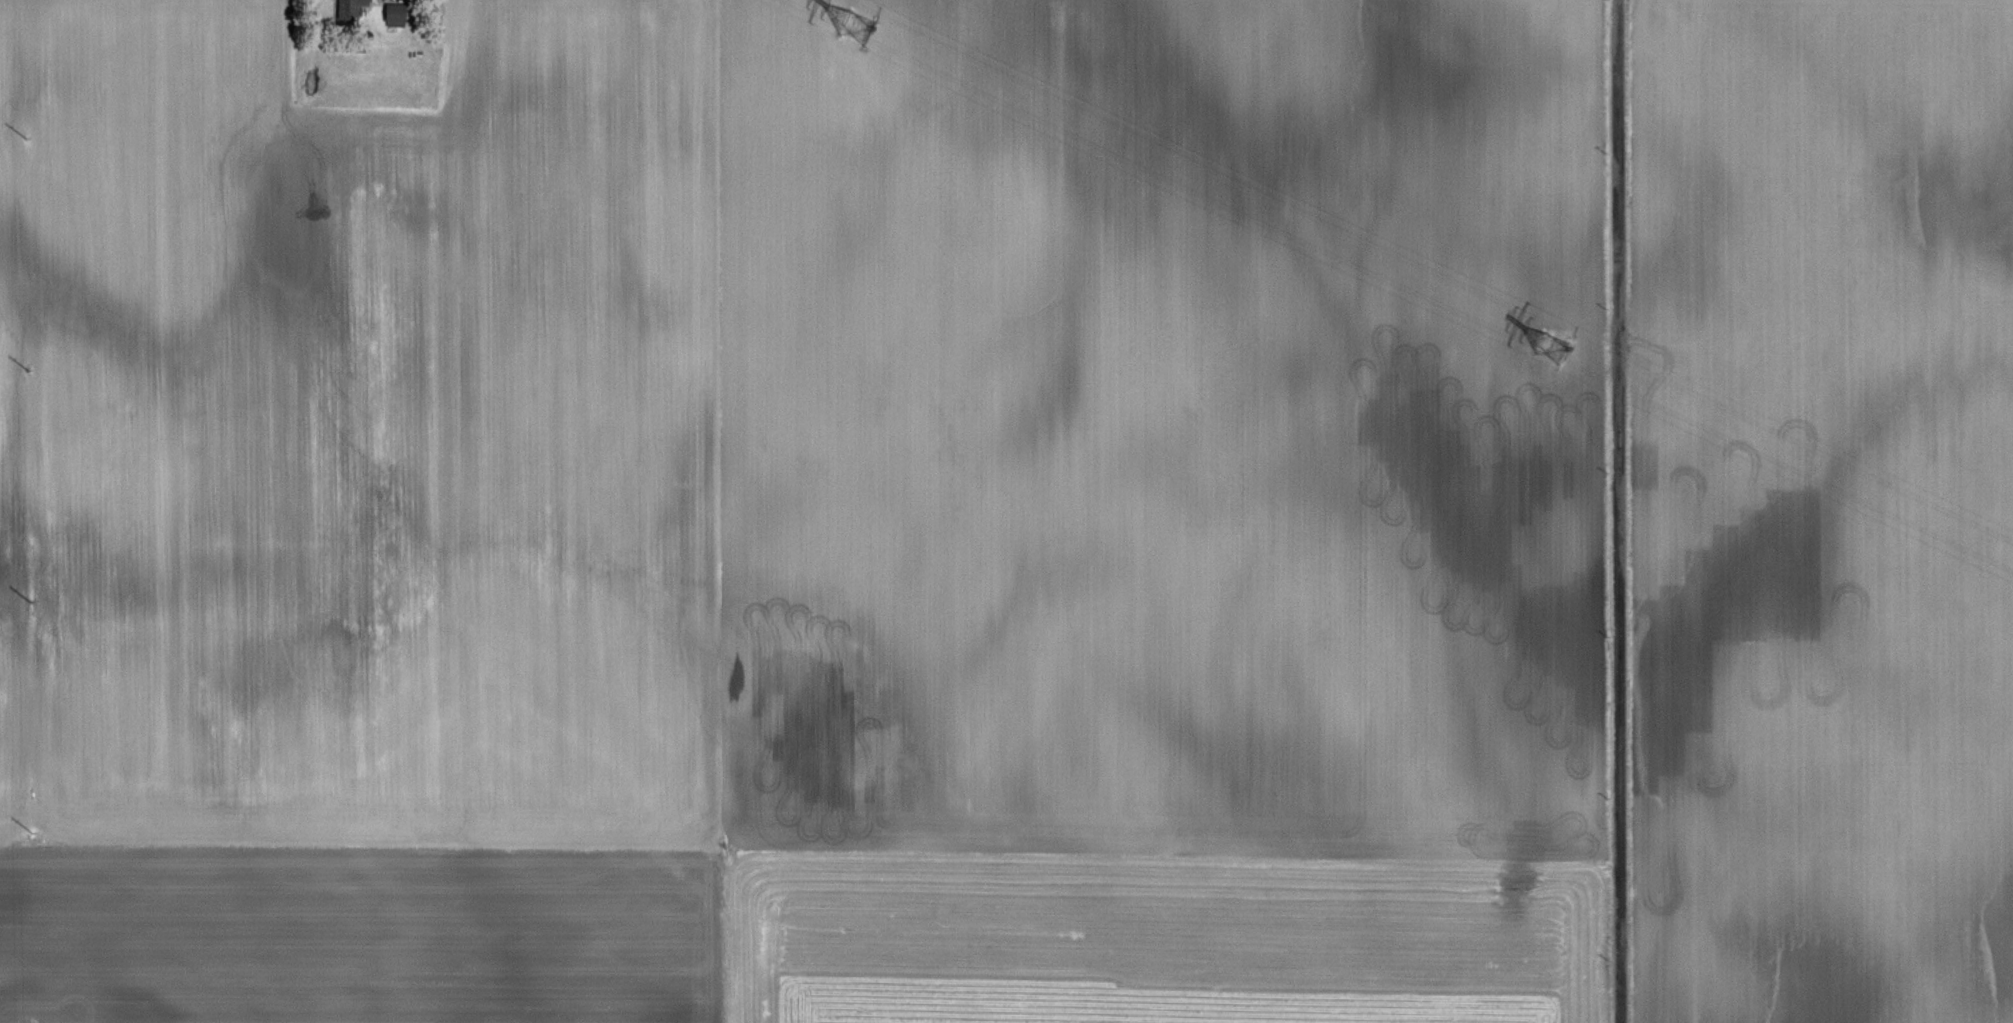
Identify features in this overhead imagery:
building: (352, 9)
building: (396, 15)
power tower: (859, 29)
power tower: (1553, 349)
road: (1614, 511)

